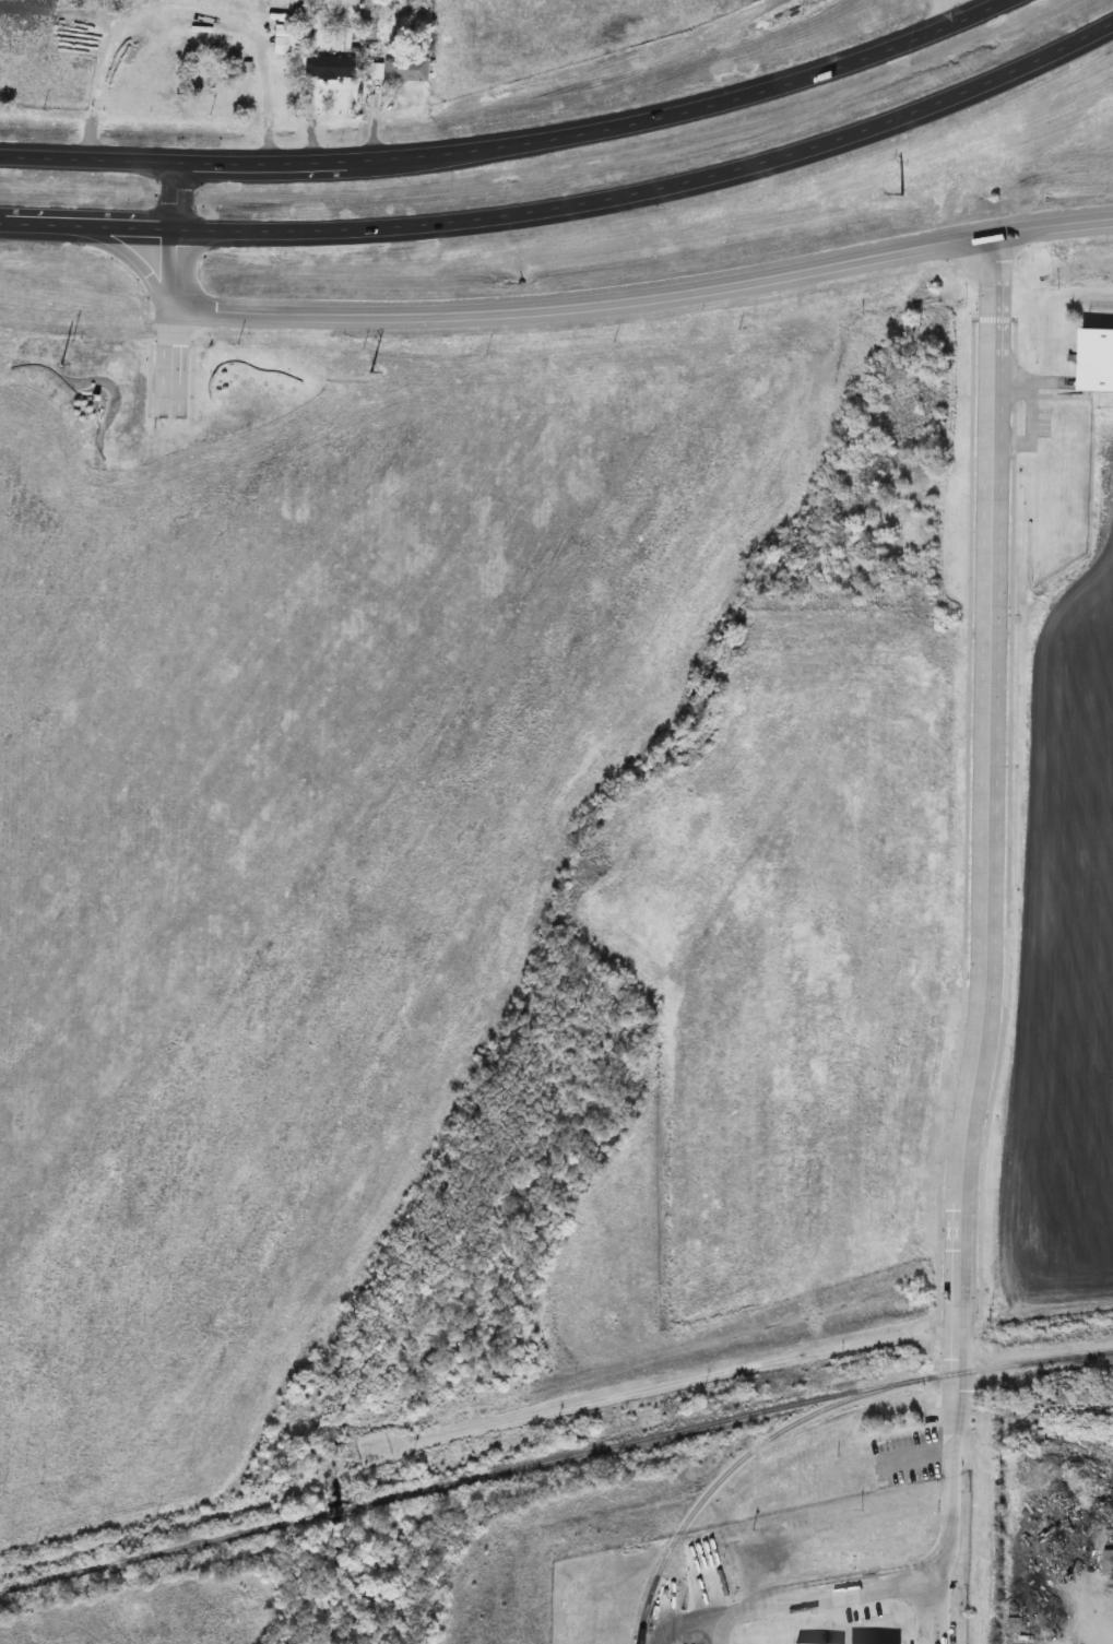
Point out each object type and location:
road: (958, 10)
building: (281, 39)
building: (329, 69)
building: (406, 70)
road: (661, 123)
road: (147, 144)
road: (719, 186)
power tower: (890, 202)
road: (147, 229)
road: (563, 306)
road: (997, 320)
road: (171, 363)
power tower: (371, 374)
building: (1097, 377)
road: (153, 380)
road: (196, 382)
road: (1028, 385)
road: (1033, 433)
power tower: (98, 604)
road: (1010, 816)
road: (988, 820)
road: (970, 823)
road: (1033, 1355)
road: (676, 1384)
railway: (732, 1418)
railway: (339, 1512)
railway: (159, 1551)
building: (1108, 1561)
road: (905, 1594)

